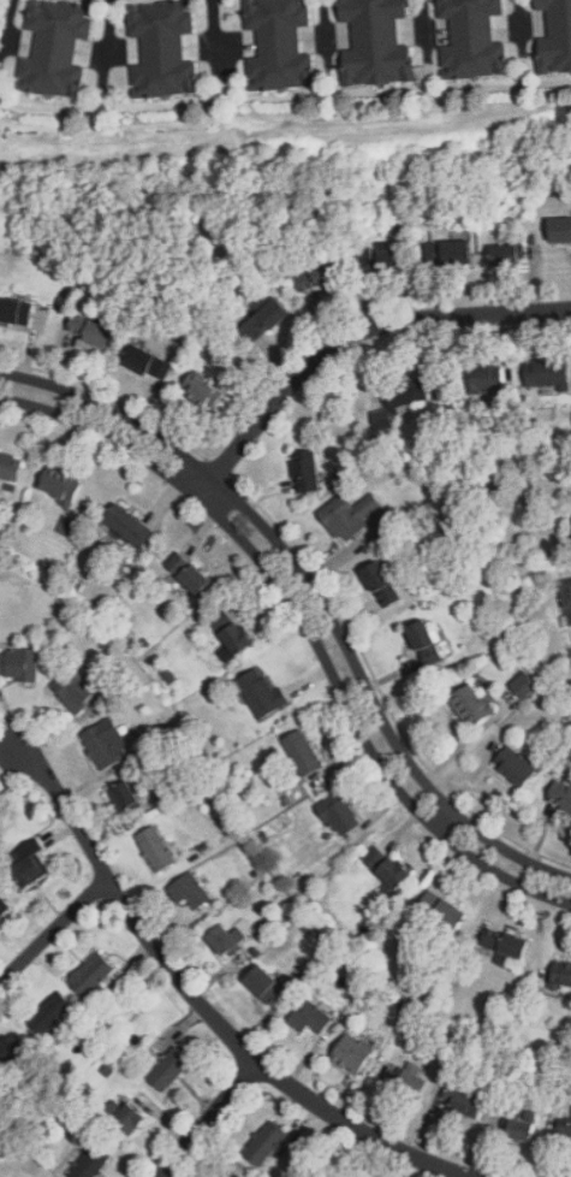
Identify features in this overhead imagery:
road: (7, 22)
road: (517, 24)
road: (424, 28)
road: (323, 30)
road: (214, 31)
building: (555, 34)
road: (109, 35)
building: (374, 41)
building: (476, 42)
building: (275, 47)
building: (162, 51)
building: (55, 52)
building: (558, 226)
building: (451, 249)
building: (511, 250)
building: (383, 252)
building: (317, 273)
building: (18, 310)
building: (266, 315)
building: (90, 327)
road: (349, 336)
building: (148, 356)
building: (546, 368)
building: (487, 375)
building: (202, 388)
building: (404, 391)
building: (392, 409)
building: (10, 465)
building: (305, 469)
building: (61, 483)
building: (343, 515)
building: (129, 521)
building: (71, 526)
building: (190, 572)
building: (380, 582)
road: (316, 593)
building: (569, 593)
road: (308, 627)
building: (234, 632)
building: (424, 639)
building: (16, 661)
building: (527, 685)
building: (73, 688)
building: (258, 690)
building: (474, 704)
building: (105, 741)
building: (302, 750)
building: (517, 764)
building: (561, 792)
building: (127, 795)
building: (340, 810)
road: (439, 817)
building: (157, 845)
building: (387, 865)
building: (28, 871)
building: (192, 891)
building: (5, 905)
building: (441, 906)
road: (54, 930)
building: (505, 941)
building: (226, 942)
building: (561, 970)
building: (91, 971)
building: (266, 983)
road: (202, 1007)
building: (49, 1017)
building: (310, 1019)
building: (7, 1048)
building: (353, 1051)
building: (168, 1069)
building: (415, 1086)
building: (462, 1106)
road: (208, 1119)
building: (125, 1122)
building: (564, 1125)
building: (527, 1128)
building: (266, 1142)
building: (89, 1163)
building: (227, 1173)

